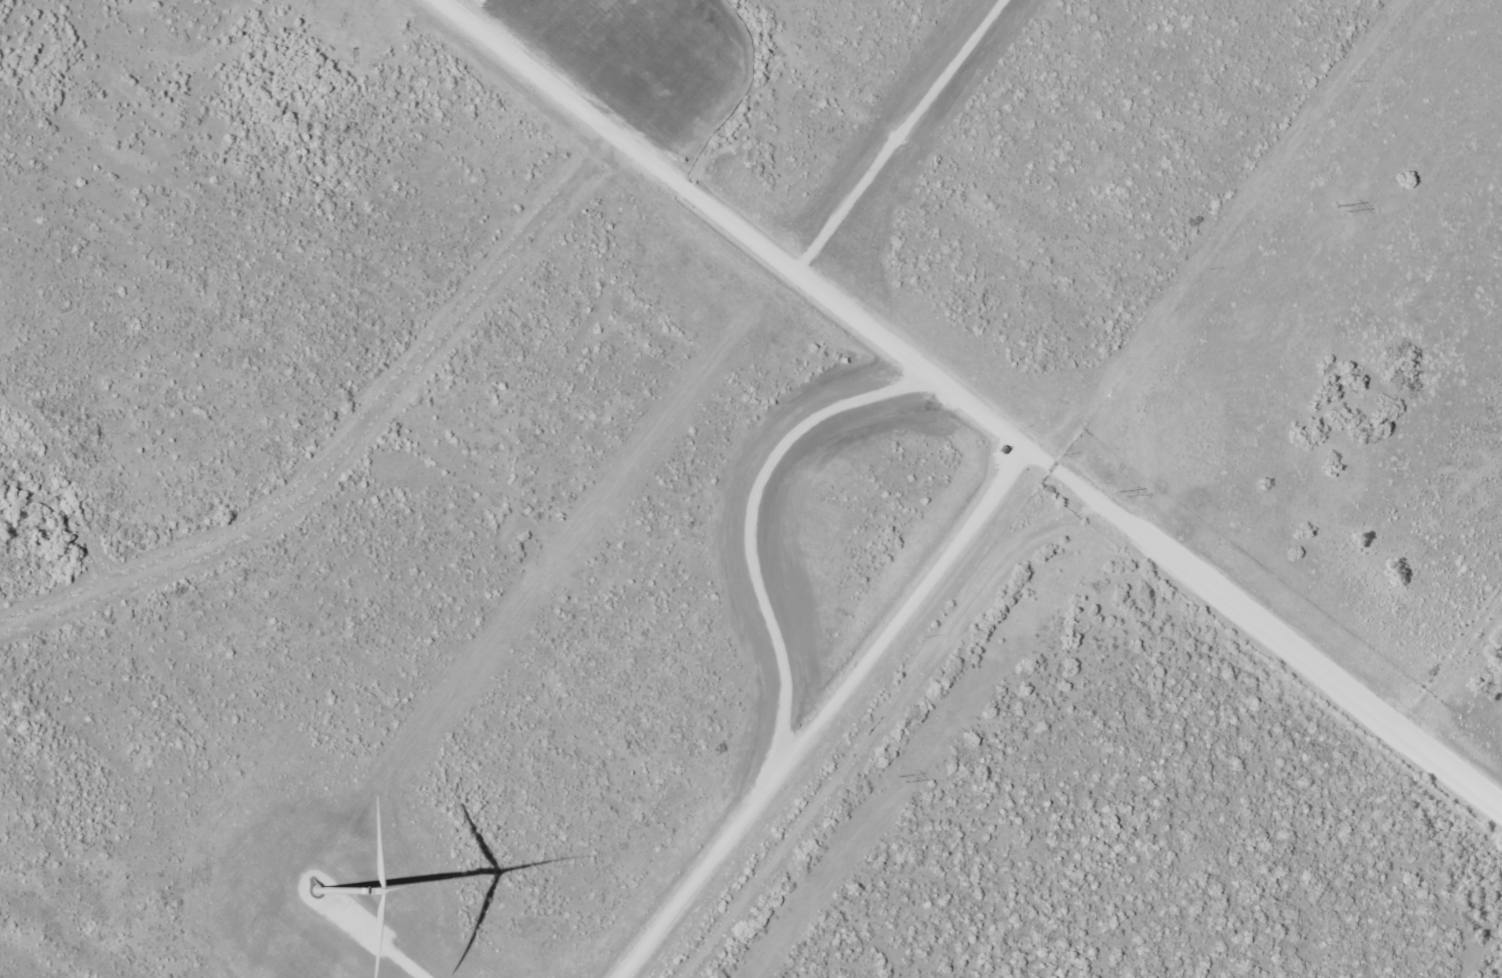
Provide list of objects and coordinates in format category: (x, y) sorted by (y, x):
power tower: (1342, 209)
road: (971, 408)
road: (366, 457)
power tower: (1124, 494)
road: (880, 722)
power tower: (901, 779)
wind turbine: (326, 874)

